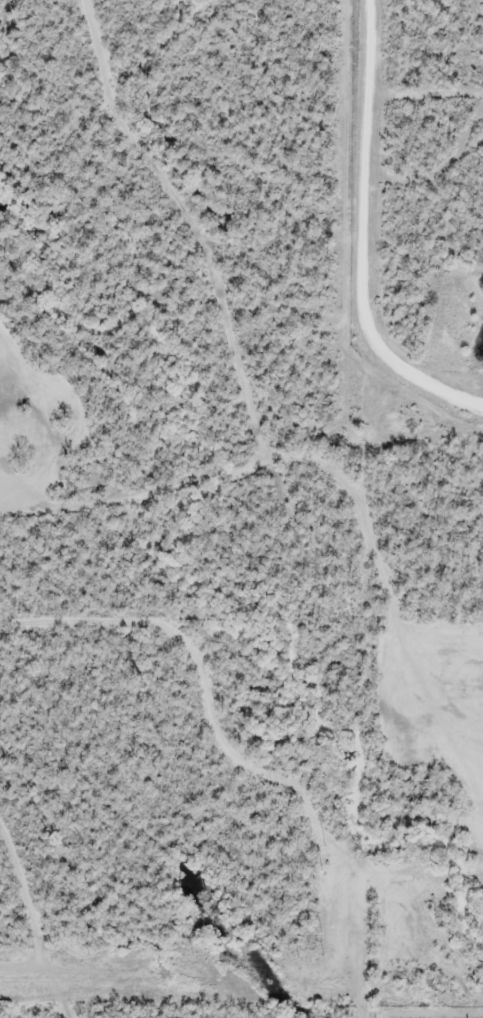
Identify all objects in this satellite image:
road: (360, 243)

